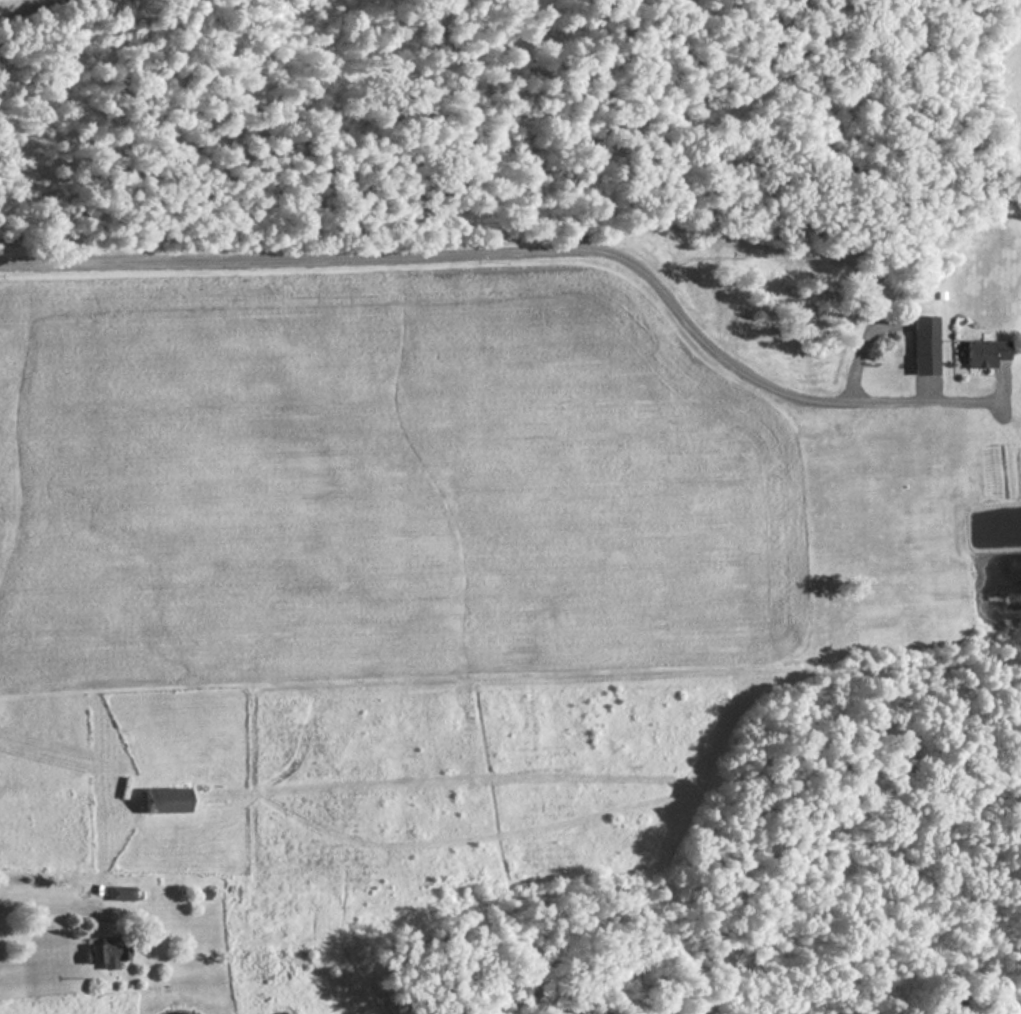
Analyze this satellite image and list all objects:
building: (924, 345)
building: (986, 353)
building: (166, 799)
building: (121, 893)
building: (107, 951)

